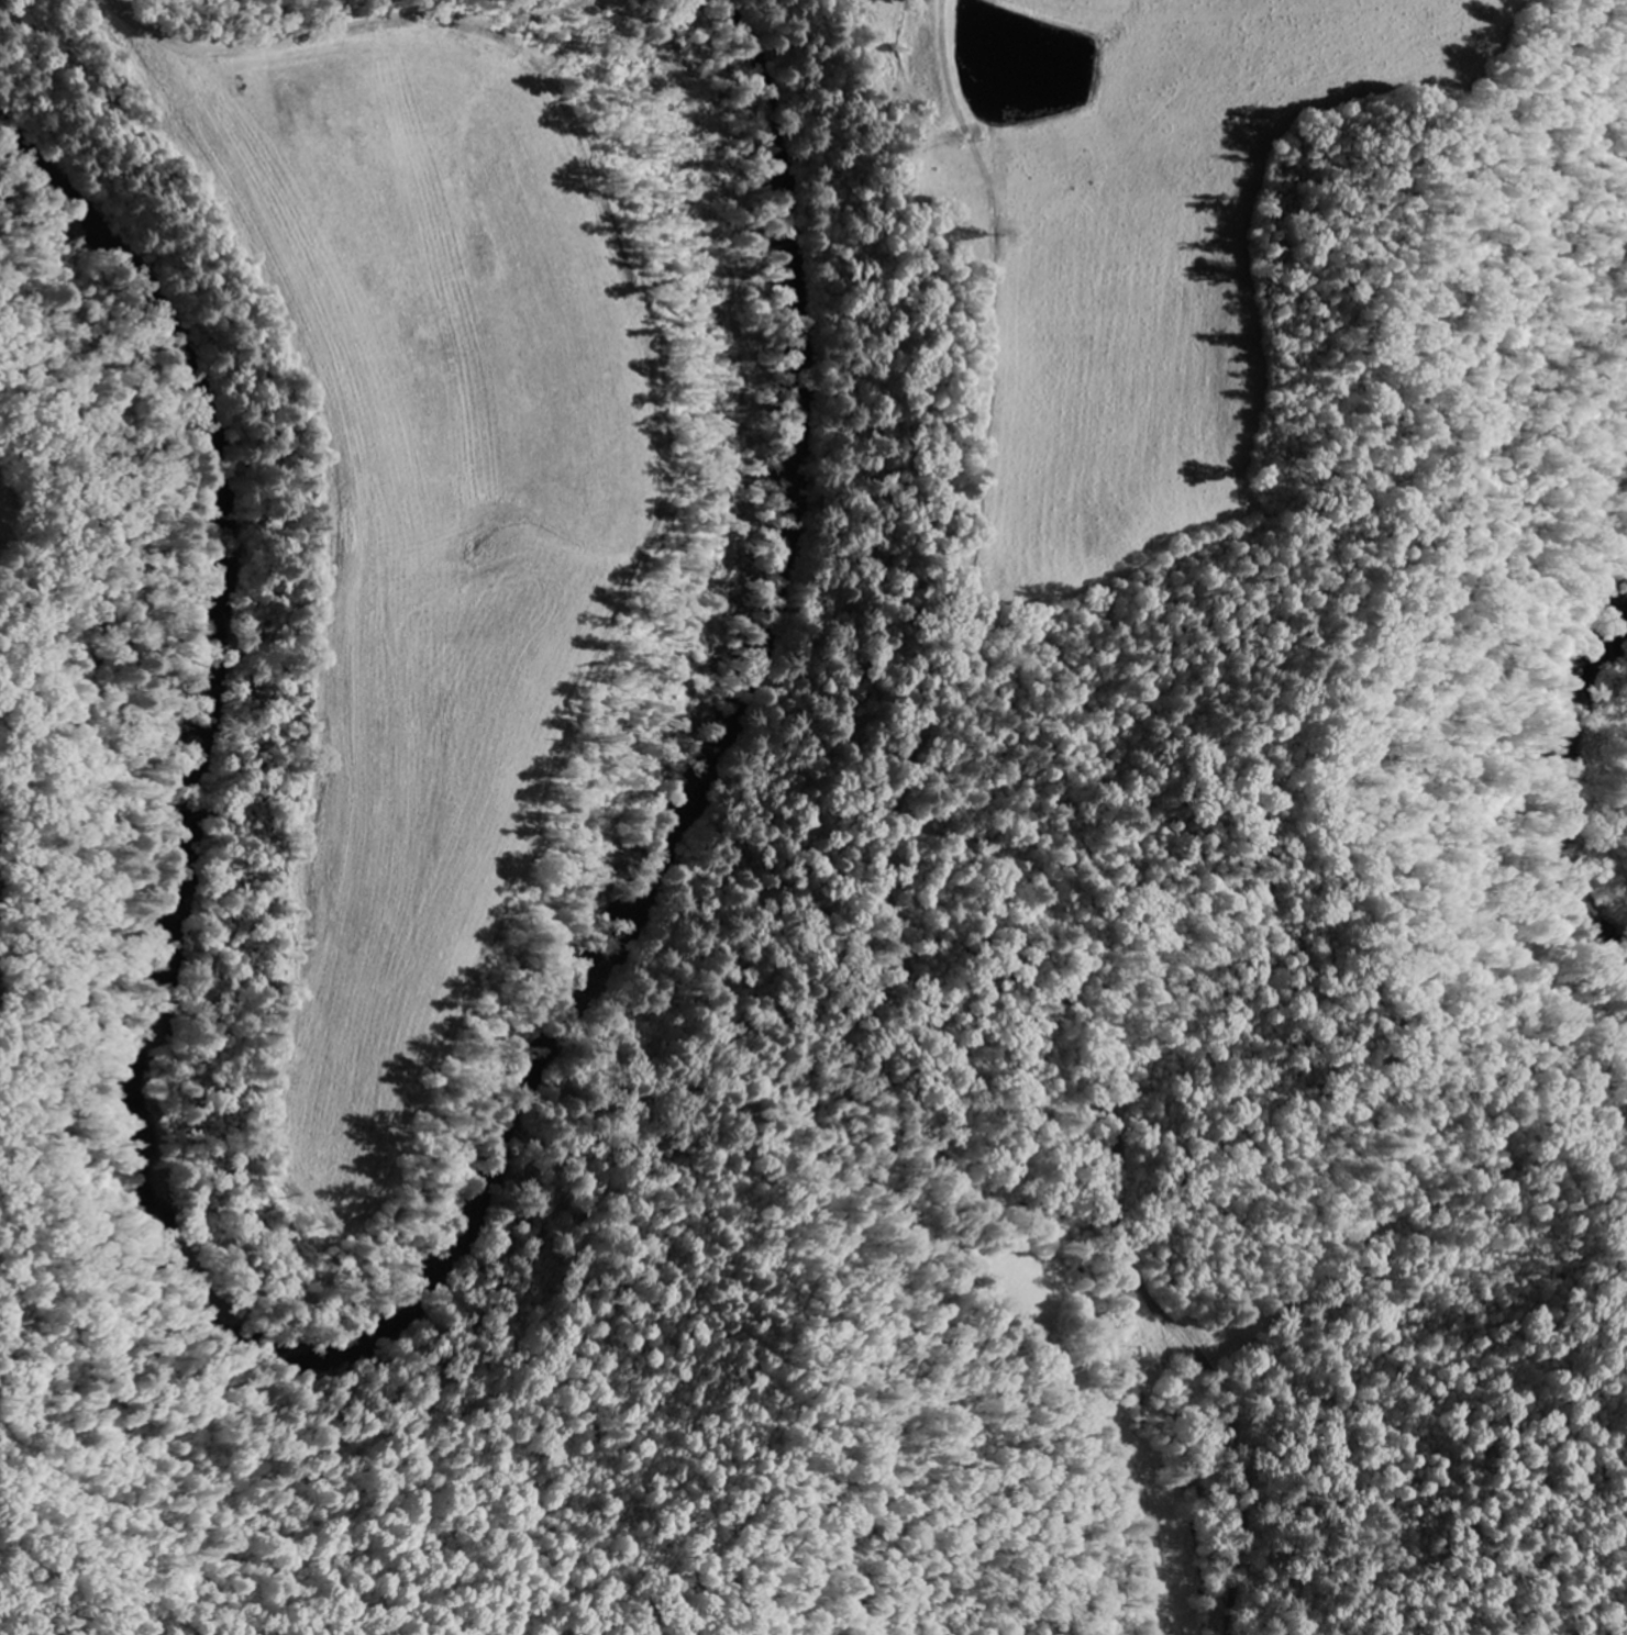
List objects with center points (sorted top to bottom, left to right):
river: (1556, 777)
river: (374, 1348)

